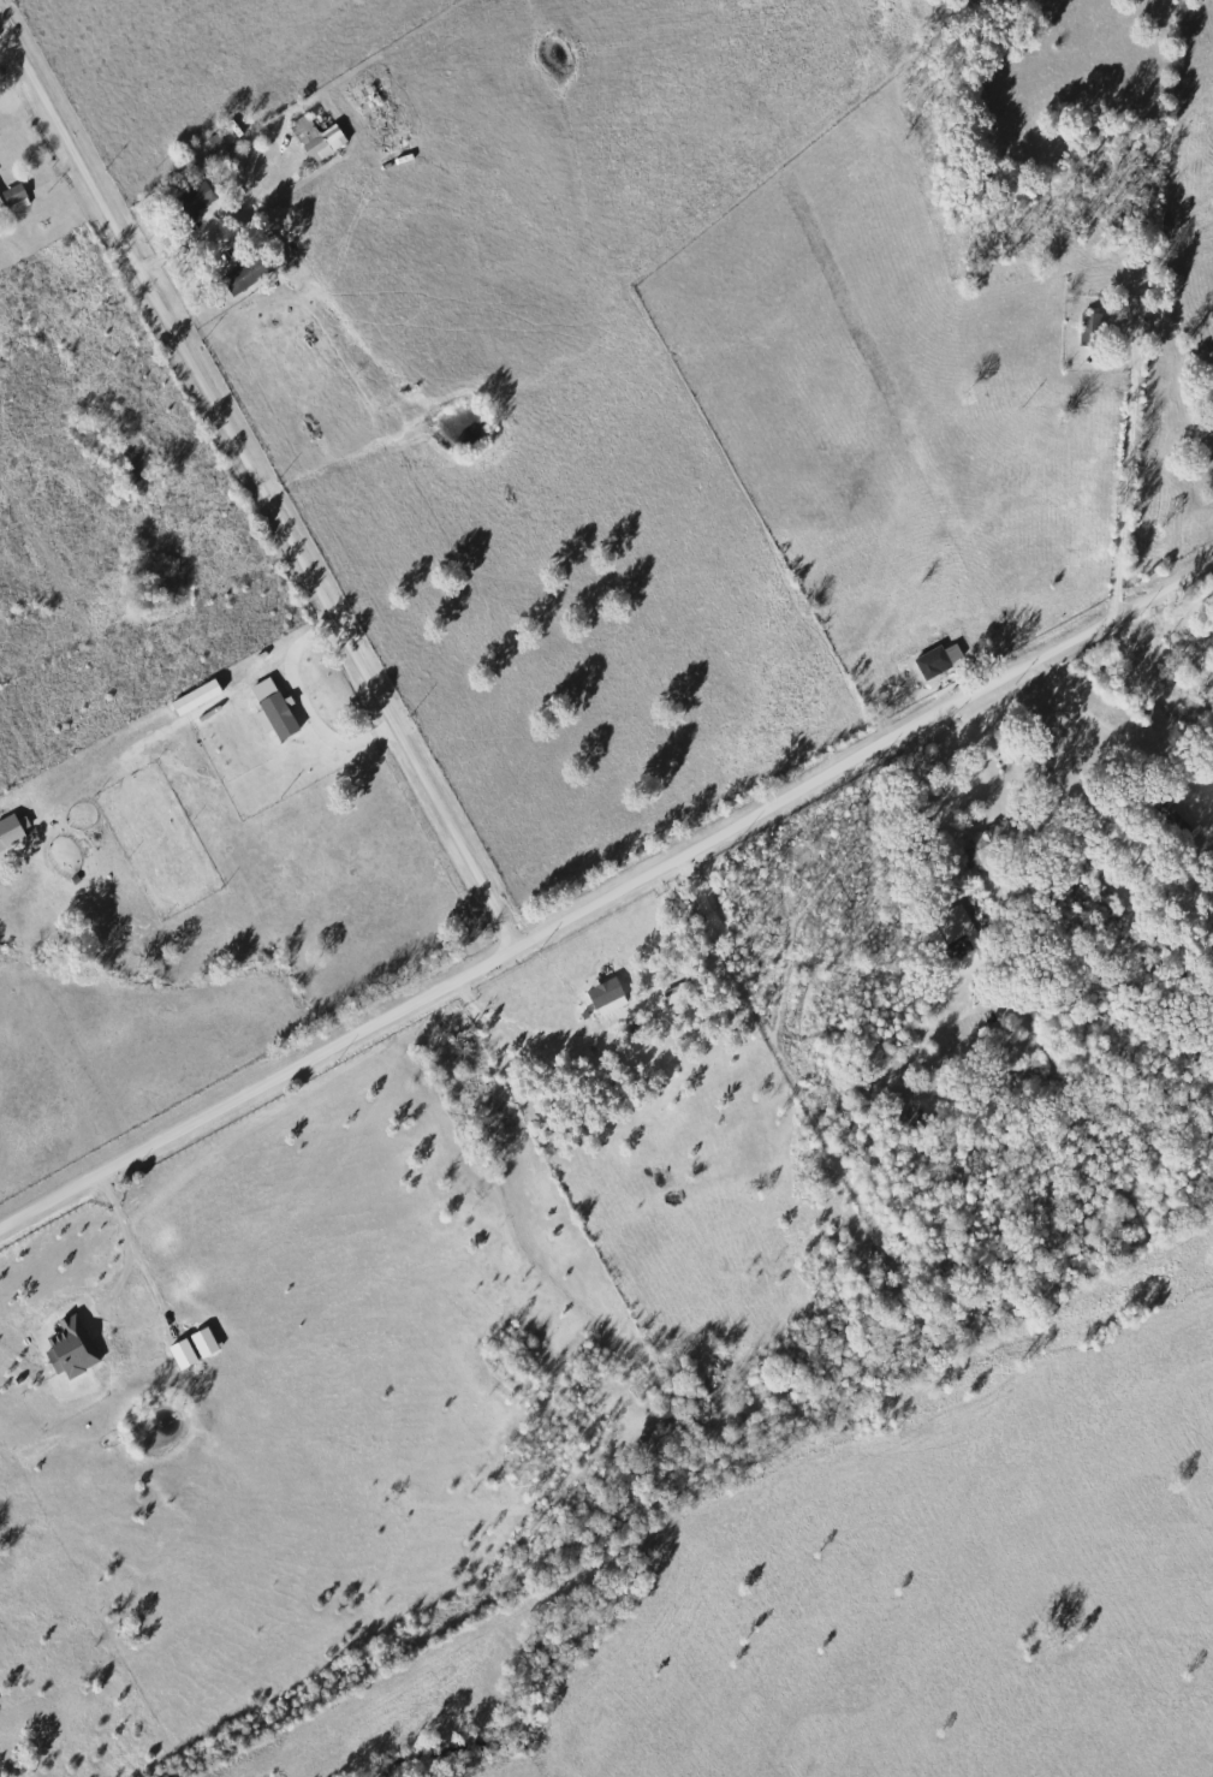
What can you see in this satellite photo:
building: (321, 138)
building: (219, 145)
building: (20, 196)
building: (203, 197)
building: (4, 201)
building: (255, 273)
road: (255, 477)
building: (943, 660)
building: (202, 696)
building: (279, 708)
road: (861, 750)
building: (14, 831)
building: (988, 844)
building: (957, 923)
road: (763, 950)
building: (611, 993)
road: (255, 1084)
building: (77, 1349)
building: (189, 1354)

